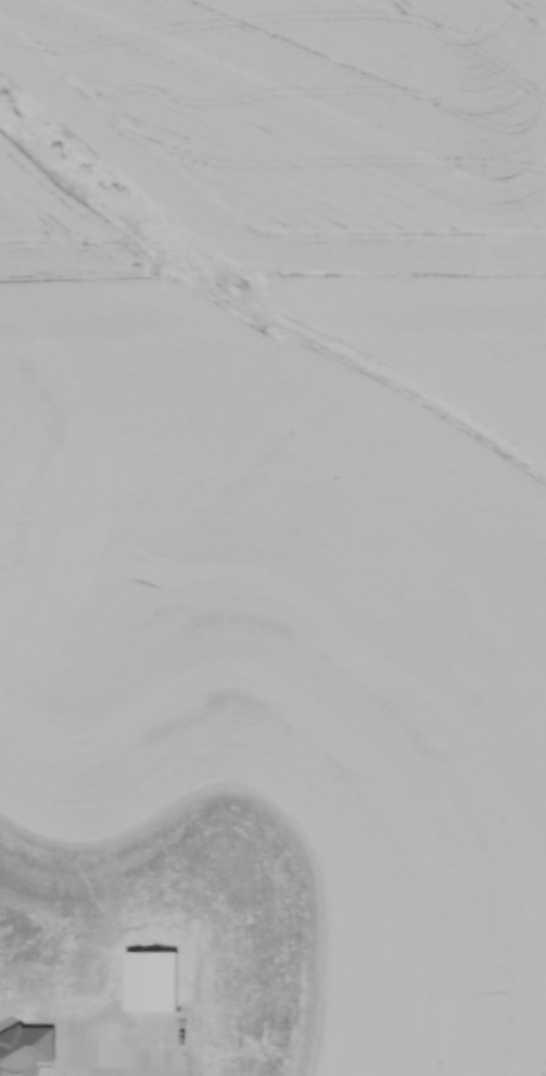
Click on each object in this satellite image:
road: (143, 1074)

